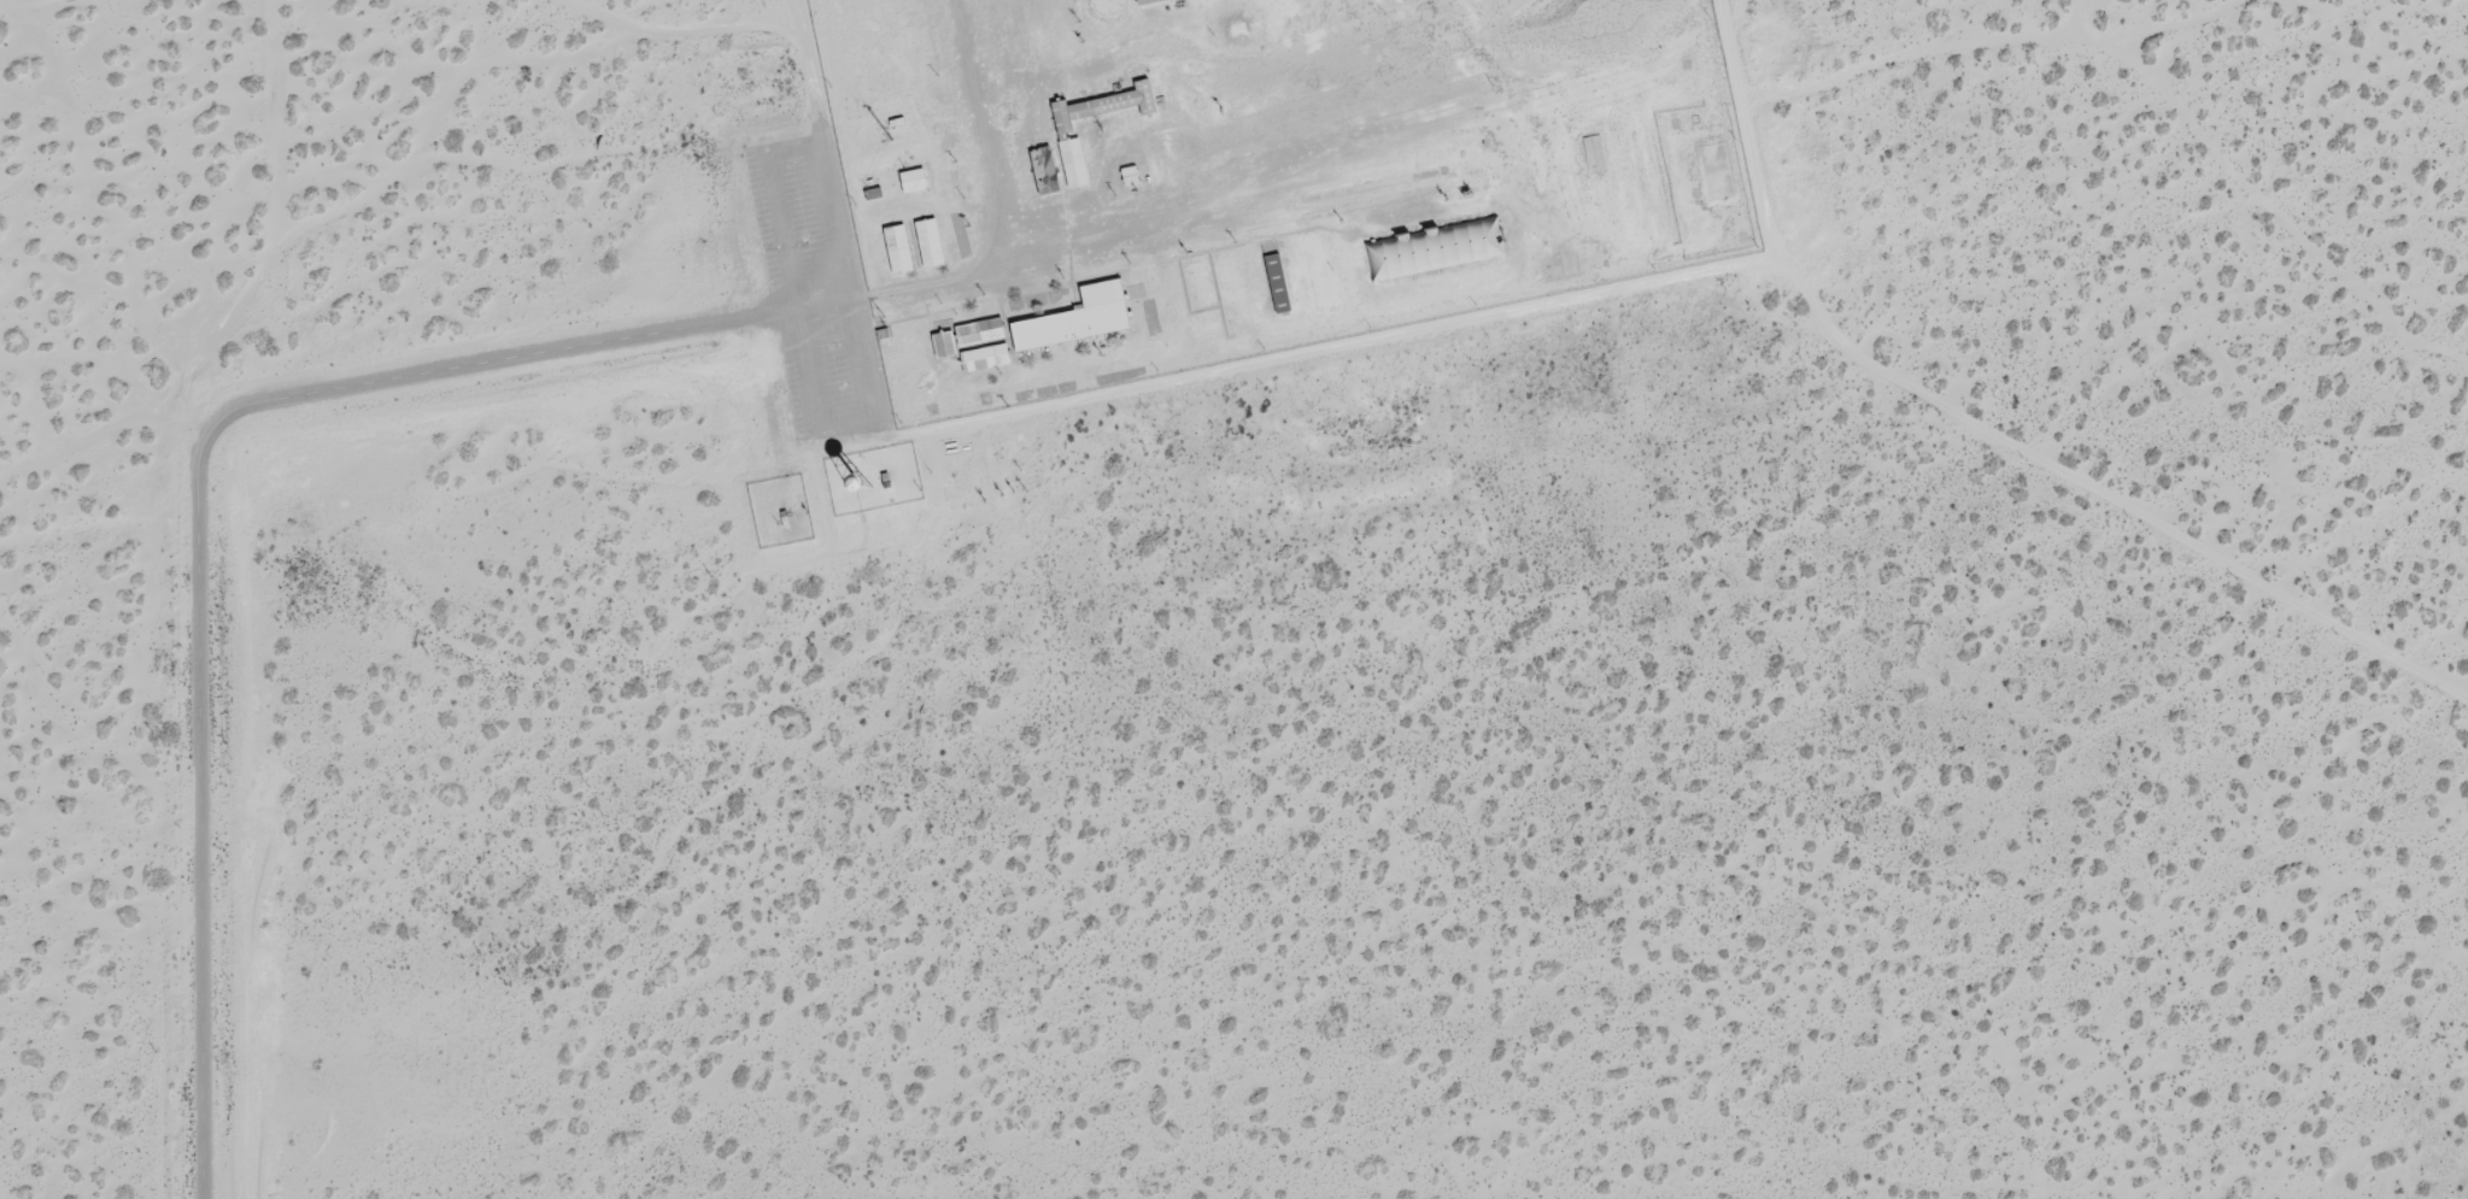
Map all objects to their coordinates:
building: (1101, 110)
building: (875, 159)
building: (1074, 169)
building: (913, 184)
building: (899, 211)
building: (930, 247)
building: (1315, 252)
building: (1276, 286)
building: (1323, 287)
building: (1077, 323)
building: (979, 336)
building: (943, 348)
building: (985, 362)
road: (199, 524)

